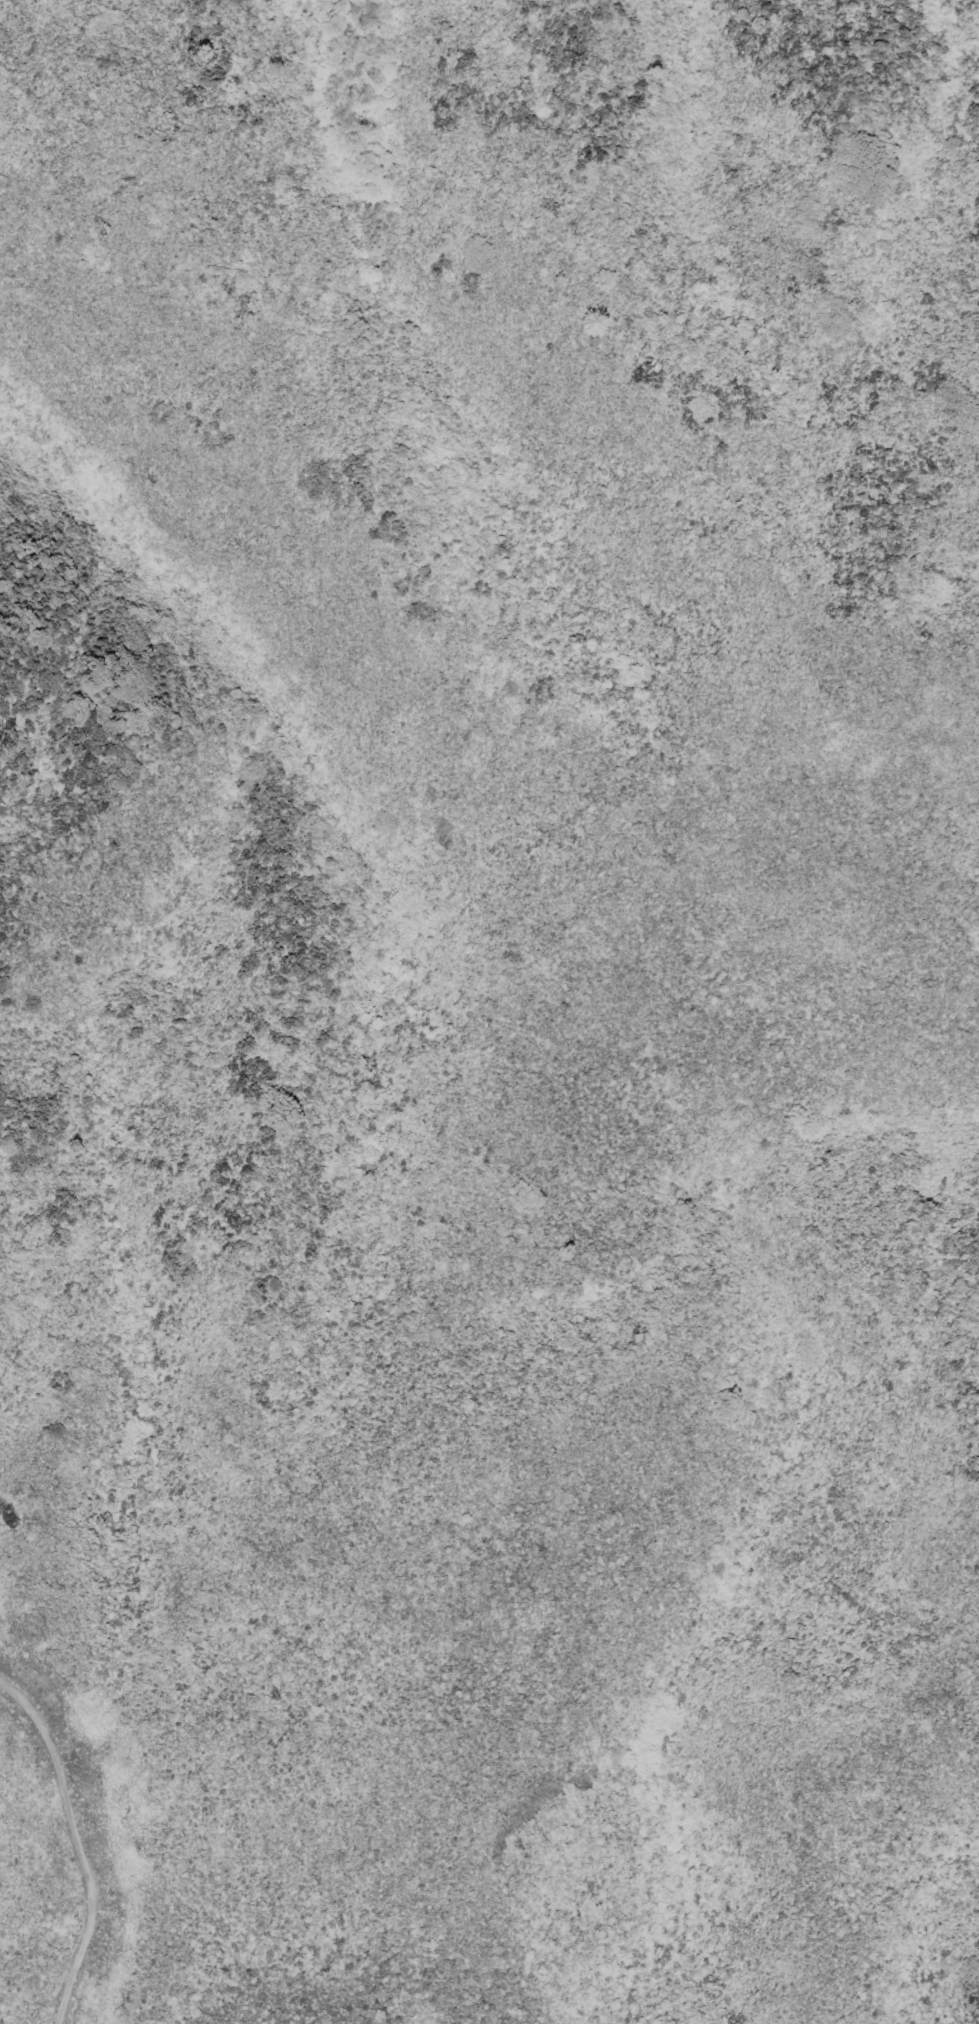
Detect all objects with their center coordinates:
road: (76, 1844)

